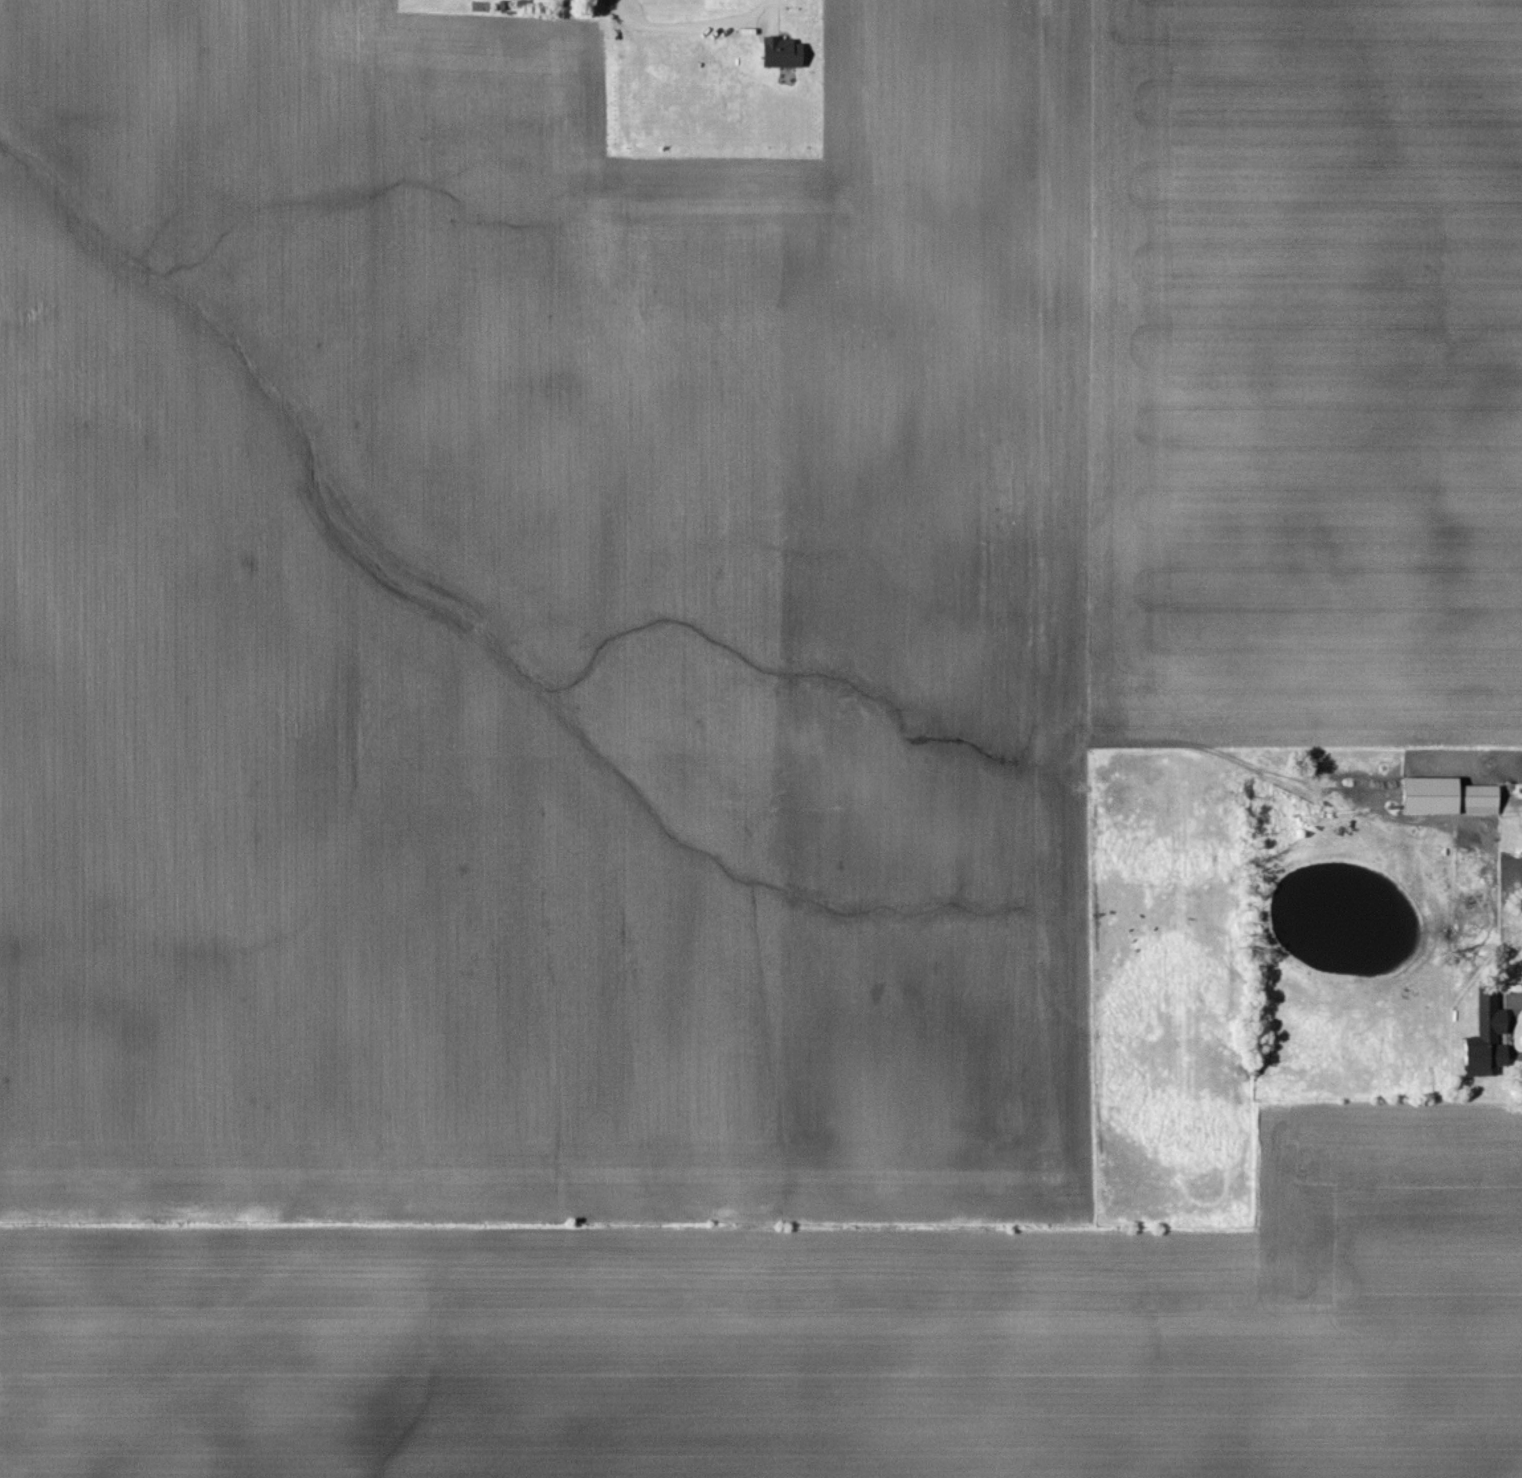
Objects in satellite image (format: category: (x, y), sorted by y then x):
road: (696, 29)
building: (1450, 798)
road: (1509, 1025)

